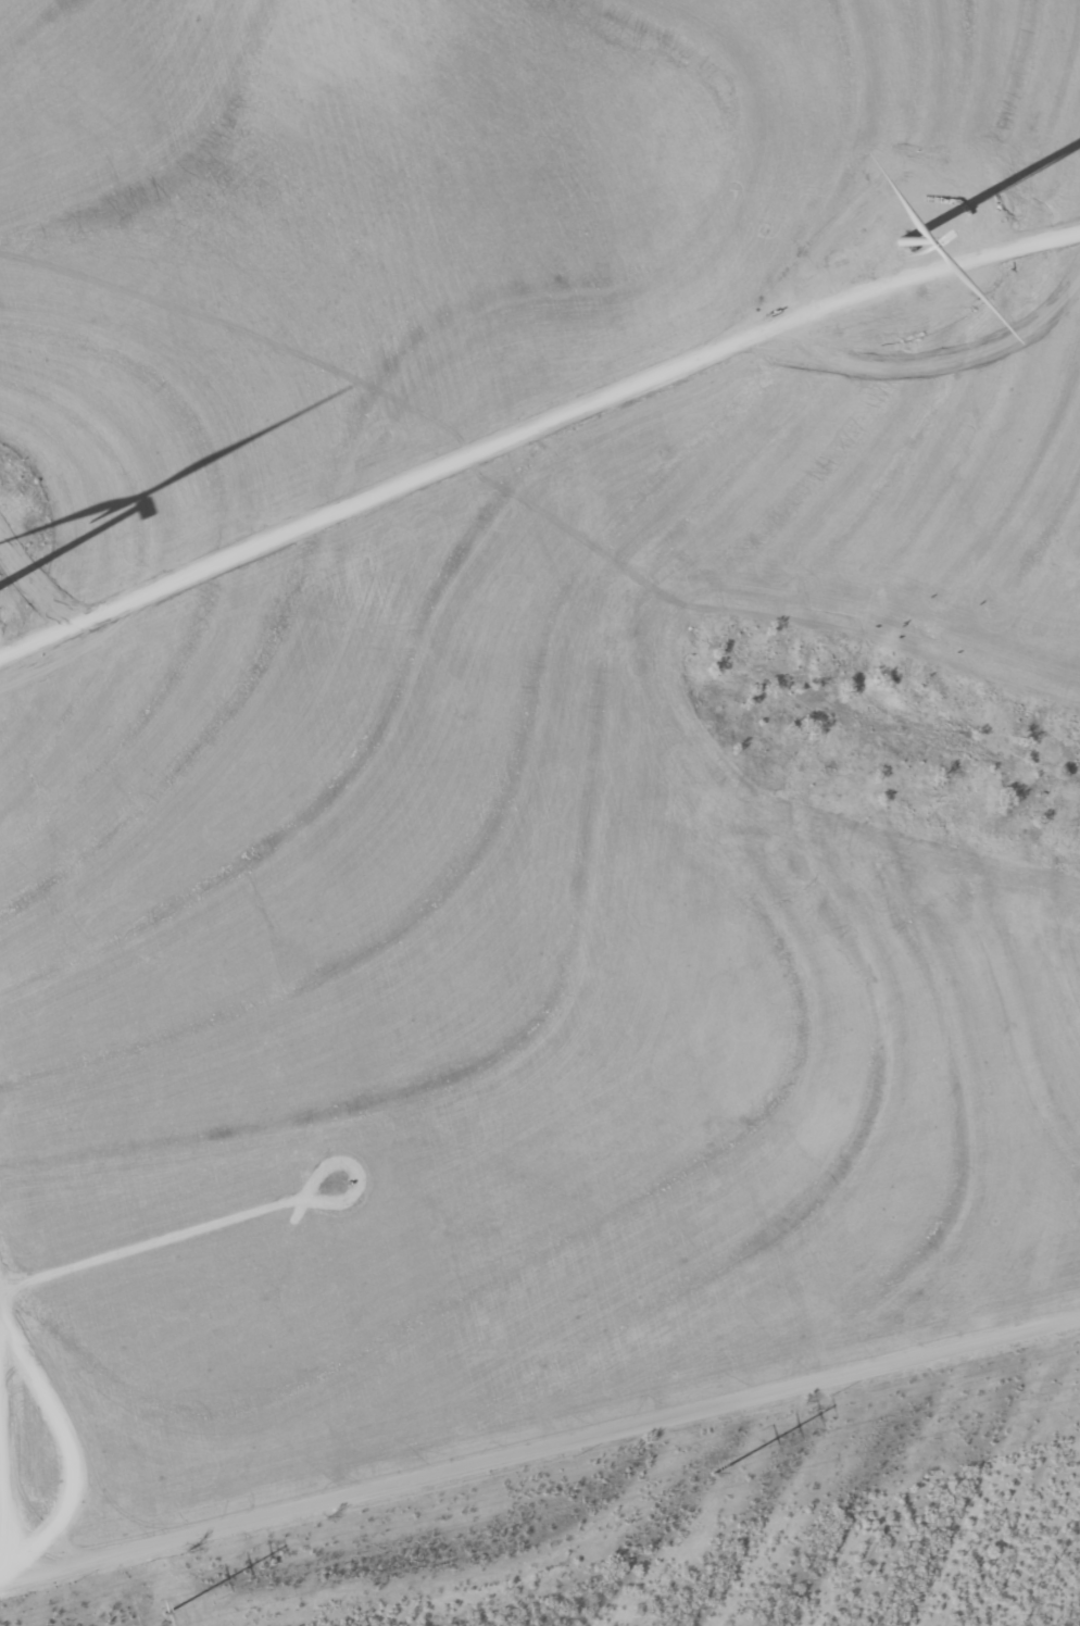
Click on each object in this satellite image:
wind turbine: (899, 243)
road: (535, 425)
road: (1059, 584)
road: (607, 896)
road: (541, 1461)
power tower: (713, 1473)
road: (1, 1576)
power tower: (166, 1612)

